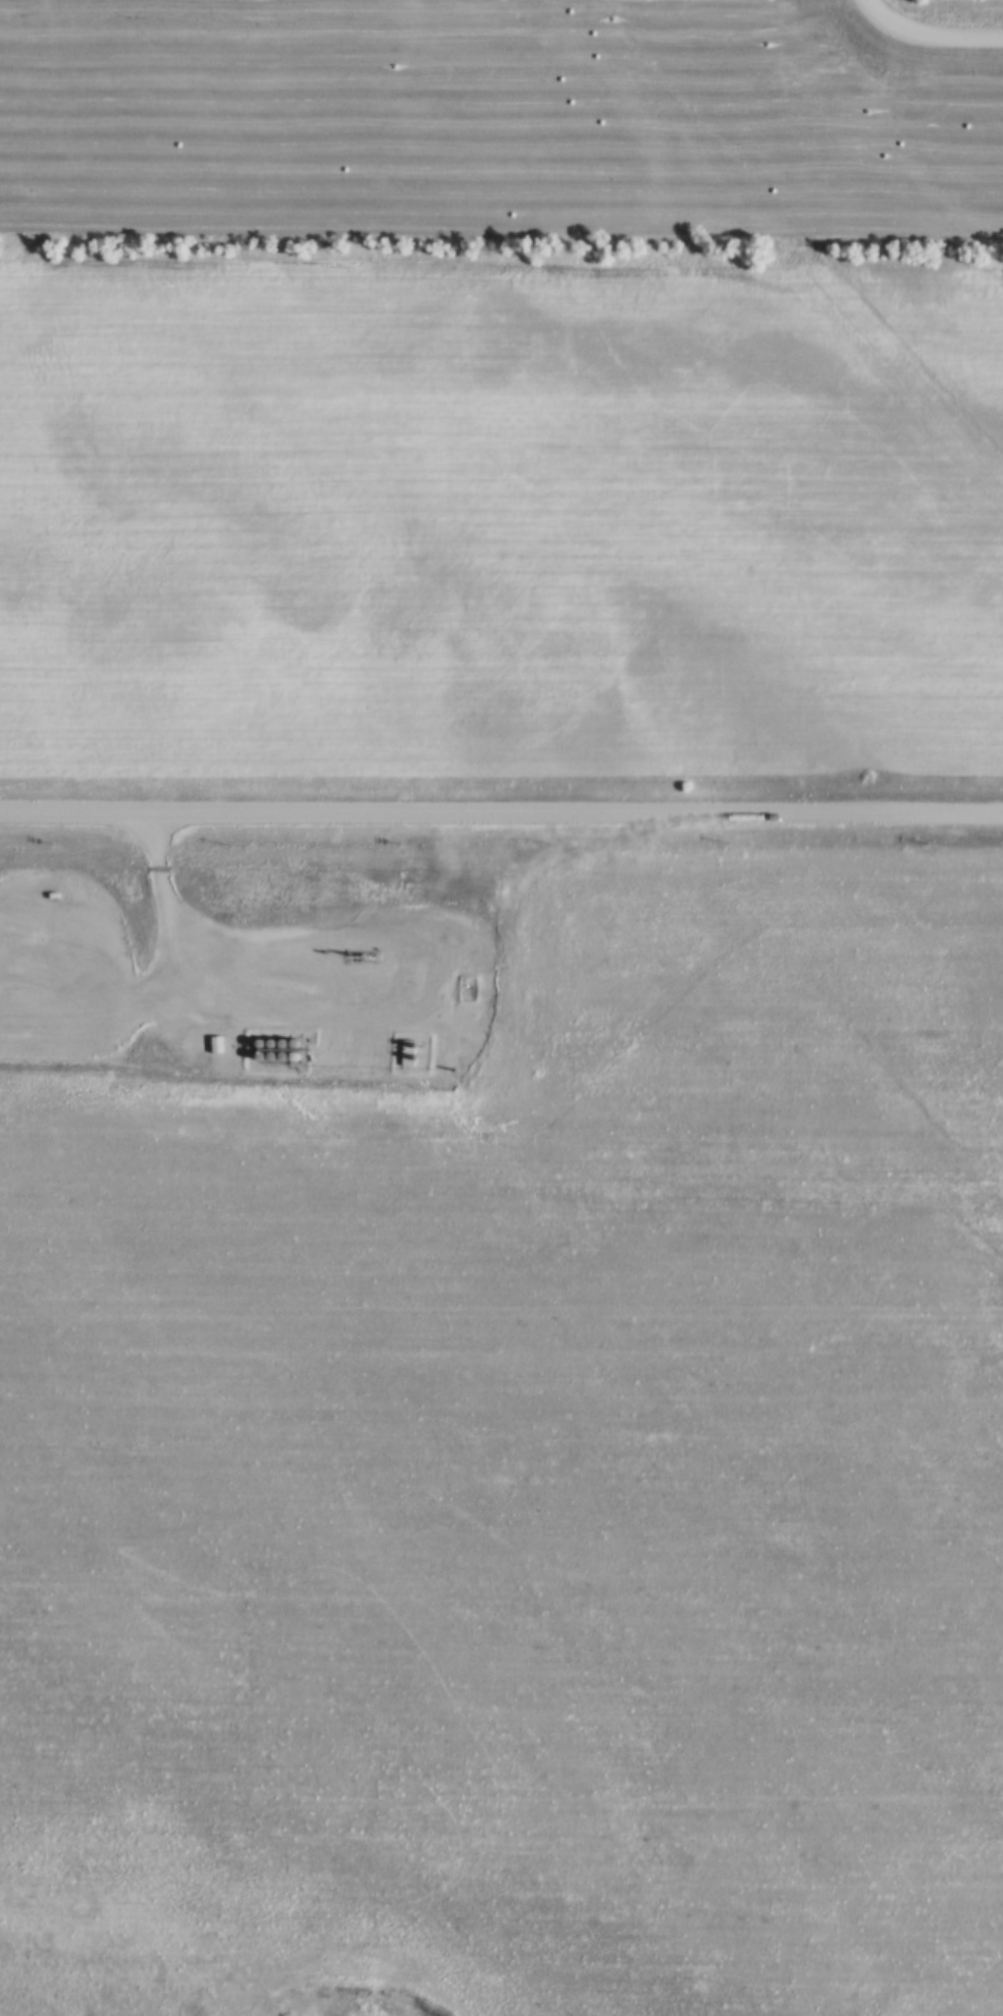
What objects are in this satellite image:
road: (501, 815)

